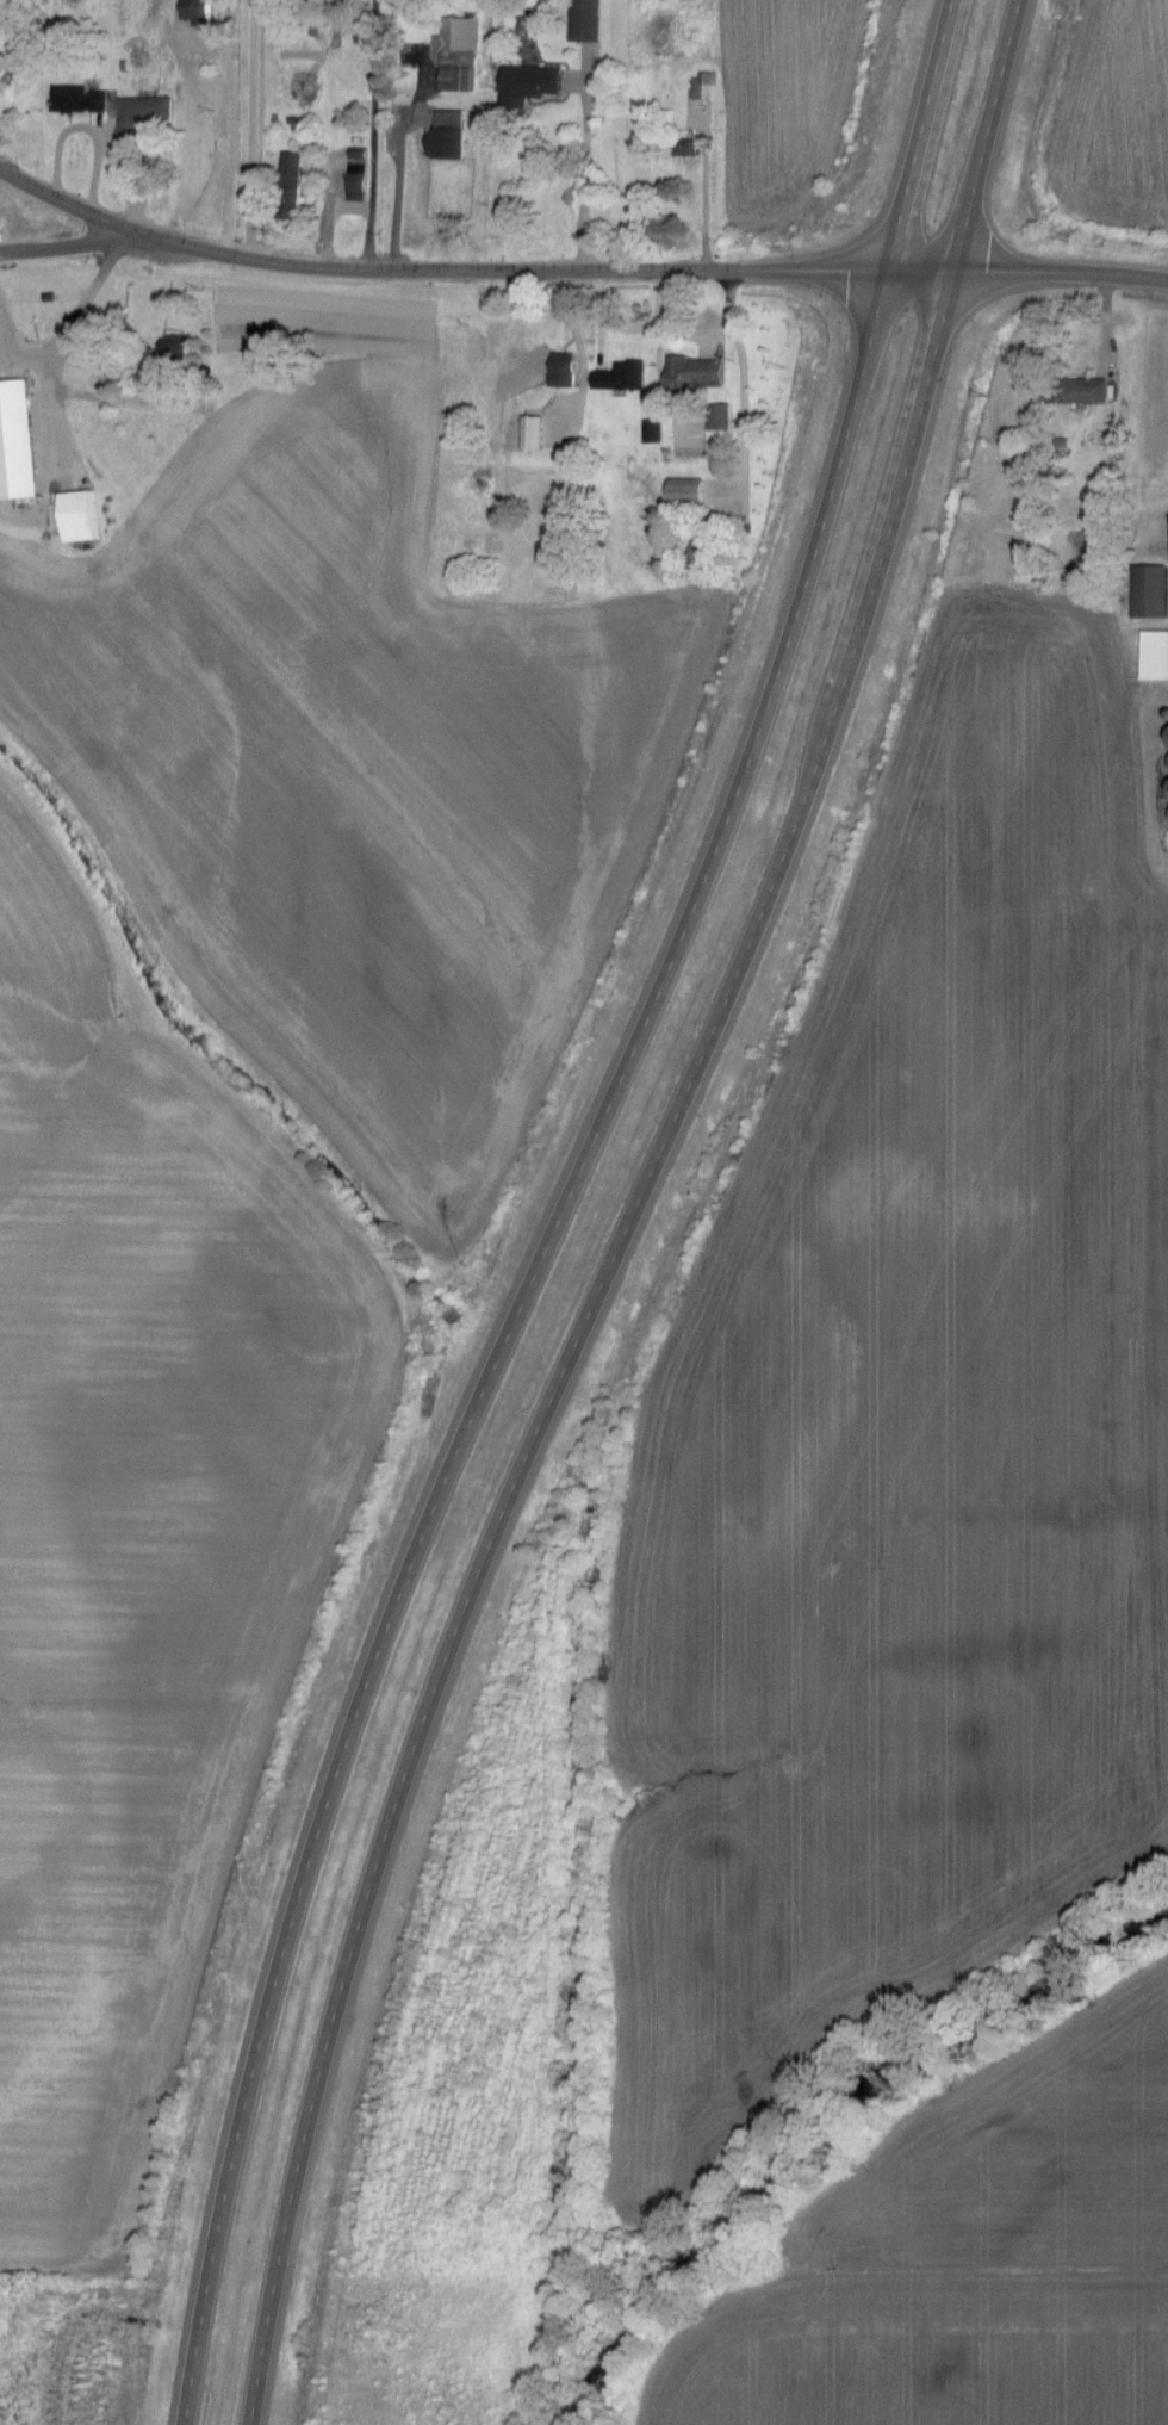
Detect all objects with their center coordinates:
building: (0, 1)
building: (205, 12)
building: (594, 20)
building: (464, 55)
building: (10, 76)
building: (534, 83)
building: (708, 86)
building: (85, 100)
crop: (787, 103)
building: (148, 114)
crop: (1112, 117)
road: (253, 130)
road: (371, 135)
building: (454, 136)
building: (691, 147)
road: (584, 173)
building: (297, 185)
road: (393, 192)
road: (702, 194)
road: (324, 217)
road: (73, 244)
road: (574, 269)
road: (67, 324)
building: (184, 358)
building: (569, 371)
building: (702, 373)
building: (627, 377)
building: (1098, 391)
building: (725, 418)
building: (658, 432)
building: (539, 434)
building: (20, 442)
building: (703, 492)
building: (86, 517)
building: (1154, 593)
building: (1157, 656)
road: (563, 1210)
road: (633, 1210)

